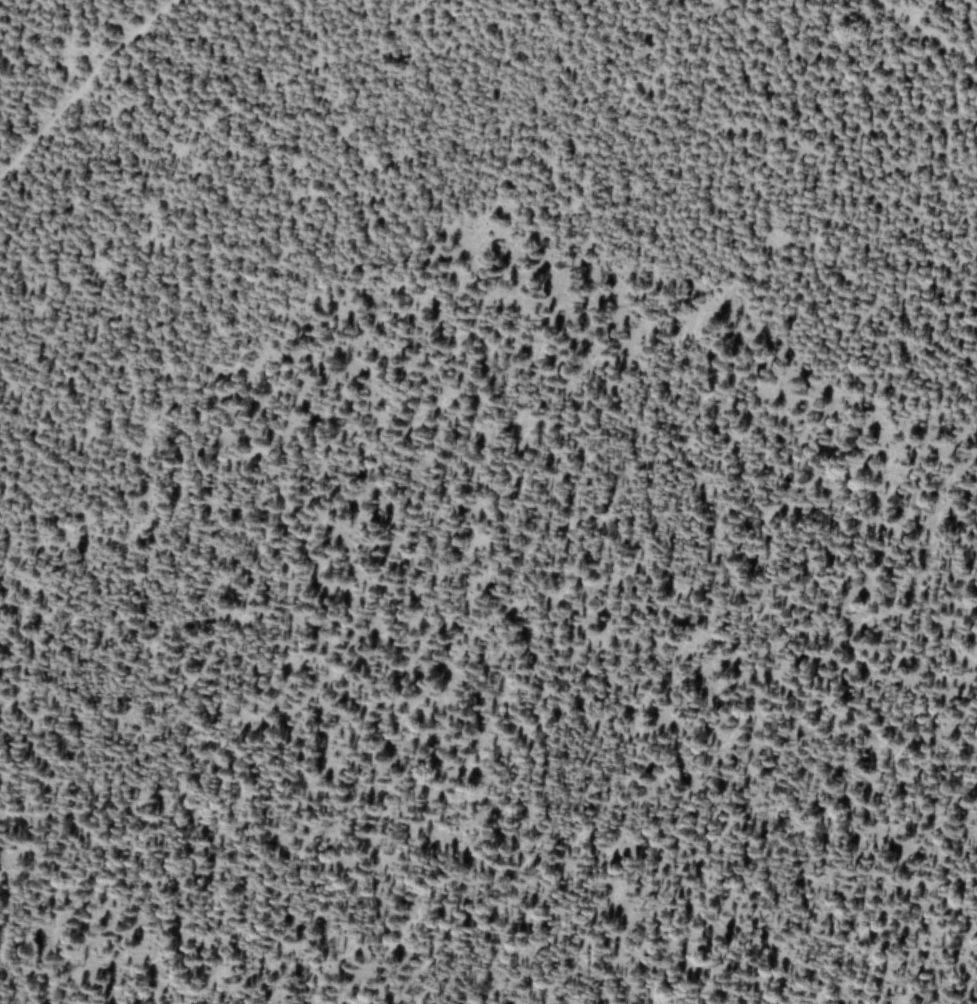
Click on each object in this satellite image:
road: (926, 32)
road: (84, 89)

